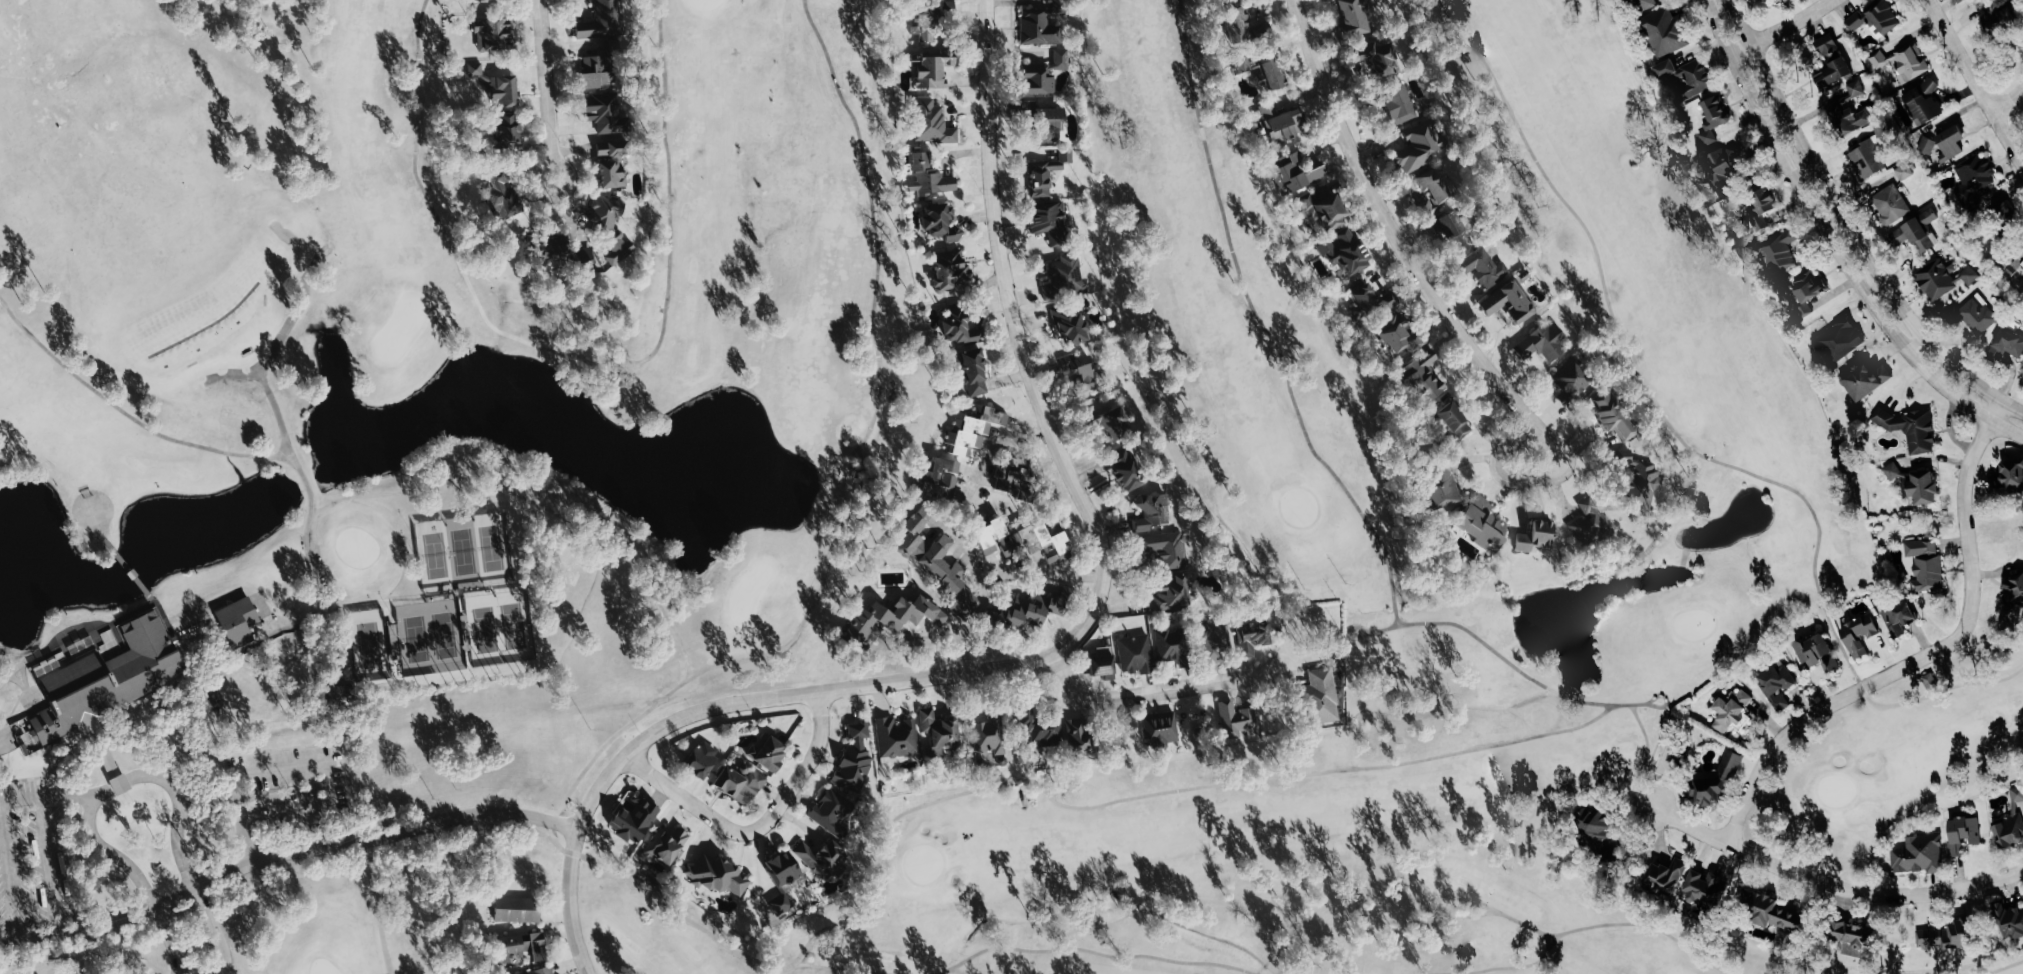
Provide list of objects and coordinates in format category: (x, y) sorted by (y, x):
building: (1646, 4)
building: (950, 8)
building: (1356, 17)
building: (1885, 17)
building: (604, 20)
building: (1856, 21)
road: (1796, 23)
building: (928, 24)
building: (1239, 24)
building: (1041, 26)
building: (1667, 31)
building: (493, 33)
road: (1748, 51)
building: (1379, 57)
building: (1879, 58)
building: (1911, 63)
building: (1244, 64)
building: (1834, 65)
building: (600, 67)
building: (936, 67)
building: (1669, 68)
building: (477, 69)
building: (1275, 73)
road: (1980, 73)
building: (1697, 79)
building: (505, 91)
road: (554, 94)
building: (1030, 100)
building: (1927, 102)
road: (2012, 104)
building: (1400, 105)
building: (1852, 109)
building: (608, 111)
building: (1715, 118)
building: (932, 122)
building: (1283, 122)
building: (509, 129)
building: (1952, 142)
building: (1419, 147)
building: (1869, 159)
building: (612, 164)
building: (1723, 169)
building: (1301, 170)
building: (1906, 171)
building: (1048, 172)
building: (931, 177)
building: (1976, 177)
building: (1438, 187)
building: (503, 197)
building: (1892, 204)
building: (1327, 207)
building: (1765, 208)
building: (1052, 221)
building: (942, 222)
road: (1853, 227)
building: (615, 229)
building: (1457, 231)
building: (1920, 232)
road: (1840, 238)
road: (1406, 246)
building: (1780, 251)
building: (566, 252)
building: (1345, 252)
building: (1487, 270)
building: (954, 274)
building: (1065, 277)
building: (1944, 277)
building: (1809, 288)
building: (1363, 298)
building: (1391, 300)
building: (1511, 302)
building: (1975, 315)
building: (1071, 325)
building: (959, 326)
building: (1400, 334)
building: (1842, 340)
building: (1546, 342)
building: (2009, 343)
building: (975, 370)
building: (1081, 371)
building: (1427, 375)
building: (1869, 379)
building: (1574, 380)
building: (1617, 416)
building: (1112, 420)
building: (1457, 420)
building: (1914, 428)
road: (1947, 428)
building: (975, 431)
road: (998, 441)
building: (1127, 469)
building: (1894, 471)
building: (1016, 478)
road: (1501, 478)
building: (1640, 478)
building: (2009, 478)
building: (940, 479)
building: (1443, 489)
building: (1153, 512)
building: (1590, 523)
building: (1485, 525)
building: (992, 535)
building: (1538, 536)
building: (1039, 546)
building: (1170, 548)
building: (941, 563)
building: (1927, 564)
road: (1056, 574)
building: (2013, 592)
building: (1175, 593)
road: (981, 602)
building: (1027, 612)
building: (895, 617)
building: (1901, 618)
building: (239, 621)
building: (1861, 635)
building: (1255, 637)
building: (1215, 641)
building: (1173, 646)
road: (1062, 654)
building: (1137, 654)
building: (1819, 654)
road: (1919, 661)
building: (1105, 667)
building: (104, 677)
building: (1779, 685)
road: (1162, 692)
building: (1323, 697)
building: (1734, 711)
building: (1237, 720)
building: (1163, 729)
building: (941, 730)
building: (1043, 731)
building: (990, 735)
building: (1079, 735)
building: (899, 738)
road: (2, 746)
road: (817, 748)
building: (770, 754)
building: (109, 759)
building: (703, 759)
building: (856, 759)
road: (295, 765)
road: (132, 777)
building: (121, 783)
building: (741, 783)
building: (1720, 783)
parking lot: (280, 788)
road: (49, 791)
road: (709, 811)
building: (834, 812)
building: (636, 820)
building: (2012, 823)
building: (1598, 830)
building: (1964, 835)
road: (311, 854)
building: (1920, 855)
building: (825, 859)
road: (47, 864)
road: (9, 869)
building: (785, 870)
building: (719, 875)
building: (1667, 877)
road: (1838, 887)
building: (1709, 888)
building: (782, 904)
building: (518, 909)
building: (1782, 916)
building: (2009, 922)
road: (26, 938)
building: (1861, 942)
building: (520, 948)
building: (542, 970)

